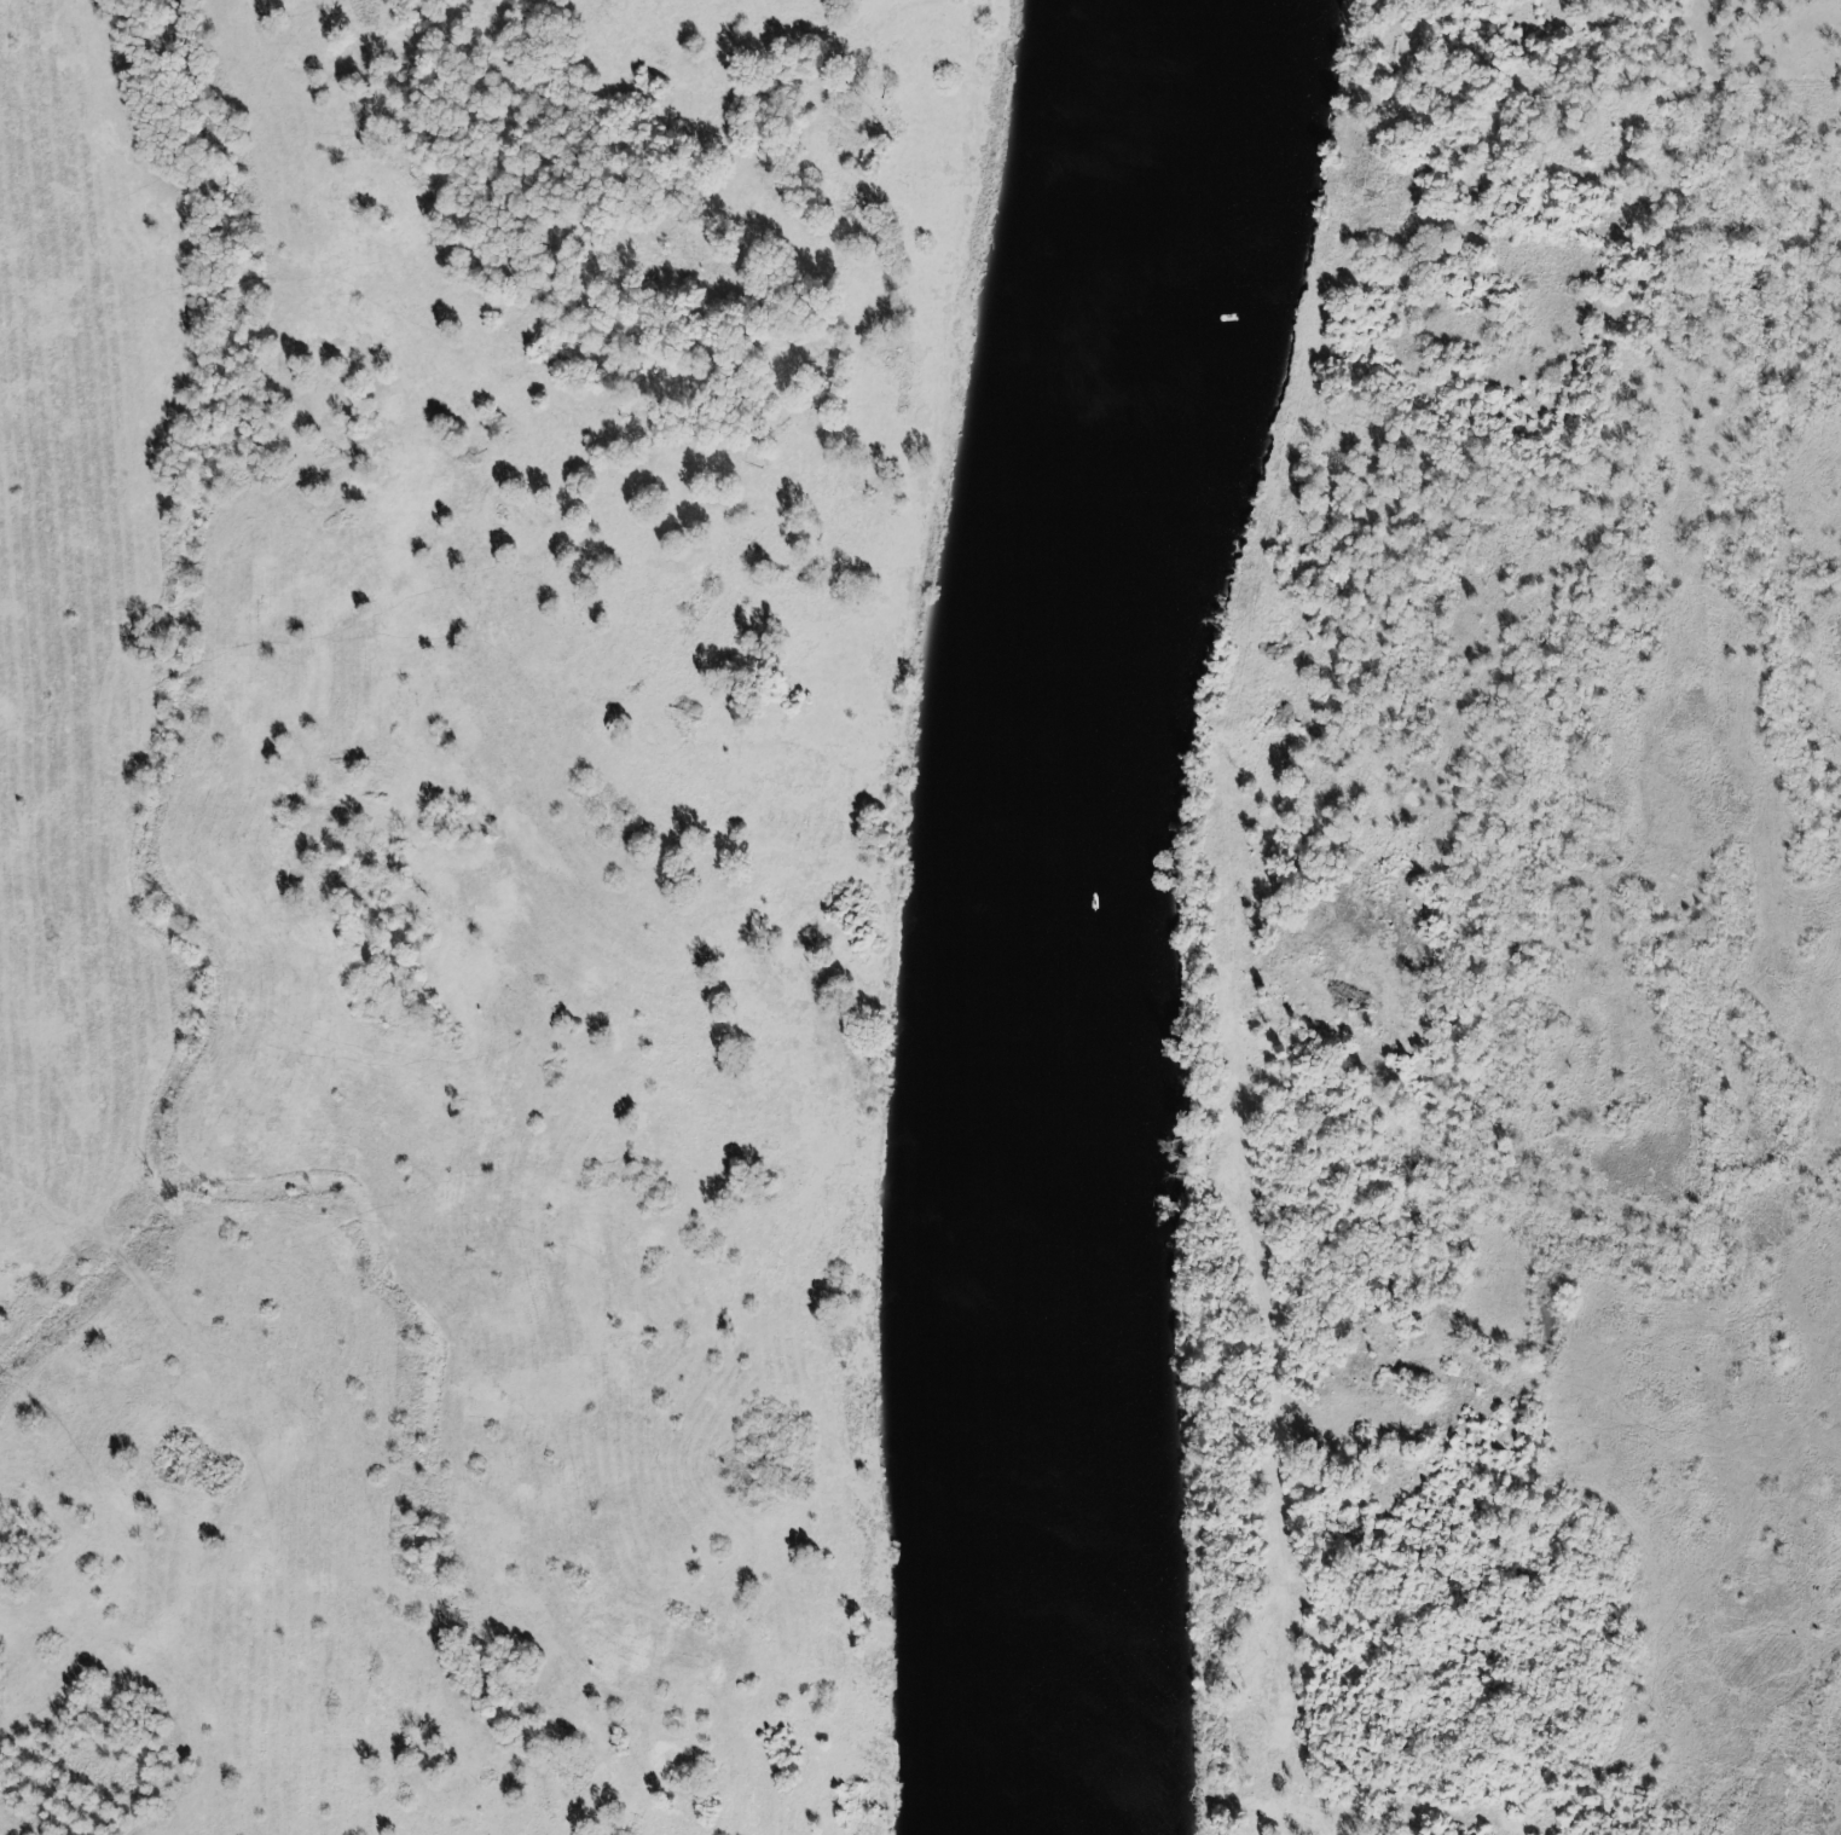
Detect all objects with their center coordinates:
river: (1034, 911)

